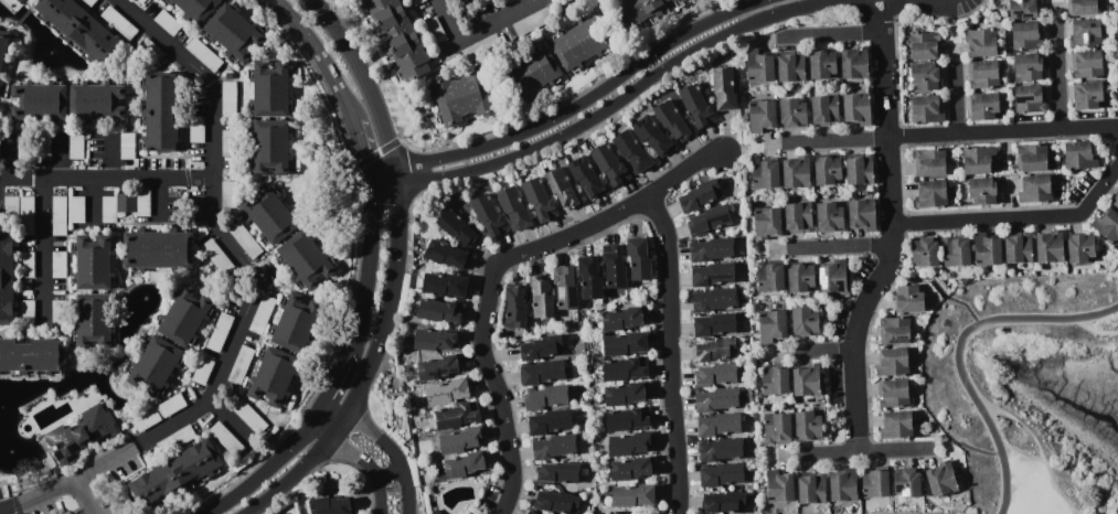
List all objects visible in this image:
road: (435, 0)
road: (437, 0)
building: (18, 1)
building: (140, 1)
building: (690, 1)
building: (88, 2)
building: (416, 2)
building: (1117, 4)
building: (1082, 8)
building: (194, 9)
building: (1022, 9)
building: (642, 11)
building: (532, 22)
building: (167, 23)
building: (117, 24)
road: (477, 29)
building: (1117, 29)
building: (435, 31)
building: (81, 32)
road: (835, 32)
building: (233, 33)
building: (1085, 33)
building: (1026, 35)
building: (396, 39)
building: (980, 42)
building: (579, 43)
building: (924, 45)
building: (4, 46)
building: (481, 49)
building: (149, 51)
building: (203, 54)
road: (319, 56)
building: (854, 63)
building: (821, 64)
building: (1086, 64)
building: (759, 66)
building: (791, 66)
building: (1029, 66)
building: (531, 73)
building: (982, 74)
road: (1057, 74)
building: (228, 76)
building: (925, 76)
road: (205, 78)
road: (362, 78)
building: (744, 84)
building: (1, 86)
building: (723, 88)
building: (270, 90)
building: (1087, 96)
building: (462, 97)
building: (1029, 98)
building: (39, 101)
building: (96, 101)
building: (228, 101)
road: (955, 104)
road: (576, 106)
building: (695, 106)
road: (610, 107)
building: (856, 107)
building: (983, 107)
building: (926, 109)
building: (823, 110)
building: (158, 113)
building: (792, 114)
building: (762, 116)
building: (673, 121)
road: (884, 121)
building: (198, 130)
road: (1001, 133)
building: (652, 135)
road: (838, 142)
building: (228, 143)
building: (127, 146)
building: (24, 147)
building: (43, 147)
building: (75, 147)
building: (270, 147)
road: (360, 149)
building: (632, 152)
road: (61, 156)
road: (106, 156)
building: (1079, 156)
building: (1031, 158)
building: (978, 159)
building: (609, 163)
building: (929, 163)
building: (860, 169)
road: (683, 170)
building: (827, 170)
building: (765, 172)
building: (797, 172)
road: (105, 176)
building: (586, 176)
road: (395, 180)
building: (563, 189)
building: (1034, 190)
building: (983, 191)
building: (227, 194)
building: (931, 194)
building: (700, 196)
road: (156, 197)
building: (539, 199)
building: (126, 203)
building: (142, 203)
building: (1116, 203)
building: (514, 208)
building: (108, 210)
building: (76, 211)
building: (11, 212)
building: (58, 214)
building: (269, 215)
building: (488, 215)
building: (861, 215)
building: (26, 216)
building: (829, 217)
road: (1014, 217)
building: (798, 218)
building: (707, 219)
building: (766, 223)
building: (1106, 226)
building: (458, 229)
building: (245, 240)
road: (41, 244)
road: (841, 247)
building: (1050, 247)
building: (1018, 248)
building: (1080, 248)
building: (158, 249)
building: (711, 249)
building: (986, 250)
building: (925, 251)
building: (956, 251)
building: (446, 255)
building: (216, 257)
building: (639, 258)
building: (305, 259)
building: (57, 261)
building: (93, 263)
building: (25, 264)
road: (368, 264)
building: (614, 266)
building: (712, 275)
building: (769, 276)
building: (589, 277)
building: (800, 277)
building: (832, 277)
building: (7, 278)
building: (444, 285)
road: (940, 288)
building: (565, 290)
building: (541, 300)
building: (713, 300)
building: (907, 300)
building: (515, 308)
road: (485, 309)
building: (439, 311)
building: (26, 313)
building: (58, 313)
building: (563, 314)
building: (262, 315)
building: (185, 318)
building: (622, 319)
building: (94, 320)
building: (805, 322)
building: (295, 323)
building: (714, 324)
building: (771, 325)
building: (893, 331)
building: (219, 332)
road: (1097, 333)
building: (435, 340)
building: (625, 344)
road: (854, 344)
building: (541, 347)
building: (714, 350)
road: (961, 351)
road: (669, 353)
building: (31, 355)
road: (824, 355)
building: (892, 363)
building: (155, 365)
building: (241, 366)
building: (438, 367)
building: (625, 368)
building: (202, 371)
building: (541, 372)
road: (366, 375)
building: (715, 375)
building: (274, 376)
road: (337, 376)
building: (775, 378)
building: (807, 381)
building: (447, 392)
park: (966, 392)
building: (892, 393)
building: (625, 394)
building: (545, 397)
building: (716, 399)
road: (204, 401)
building: (171, 405)
building: (457, 416)
road: (225, 417)
building: (249, 417)
building: (628, 419)
building: (146, 420)
building: (550, 422)
building: (718, 425)
building: (895, 426)
building: (807, 427)
building: (777, 429)
building: (79, 435)
building: (226, 439)
building: (175, 440)
building: (460, 440)
building: (628, 443)
road: (381, 447)
building: (553, 447)
road: (986, 448)
building: (720, 449)
road: (1041, 450)
road: (864, 451)
road: (273, 461)
building: (465, 464)
road: (365, 469)
building: (631, 469)
road: (385, 472)
building: (557, 473)
building: (584, 473)
building: (177, 474)
building: (721, 475)
building: (941, 479)
building: (875, 483)
building: (907, 484)
building: (843, 485)
building: (779, 486)
building: (811, 489)
building: (632, 495)
road: (86, 497)
building: (556, 502)
building: (723, 502)
building: (886, 505)
building: (331, 506)
building: (853, 506)
building: (436, 512)
building: (530, 512)
park: (902, 512)
building: (613, 513)

